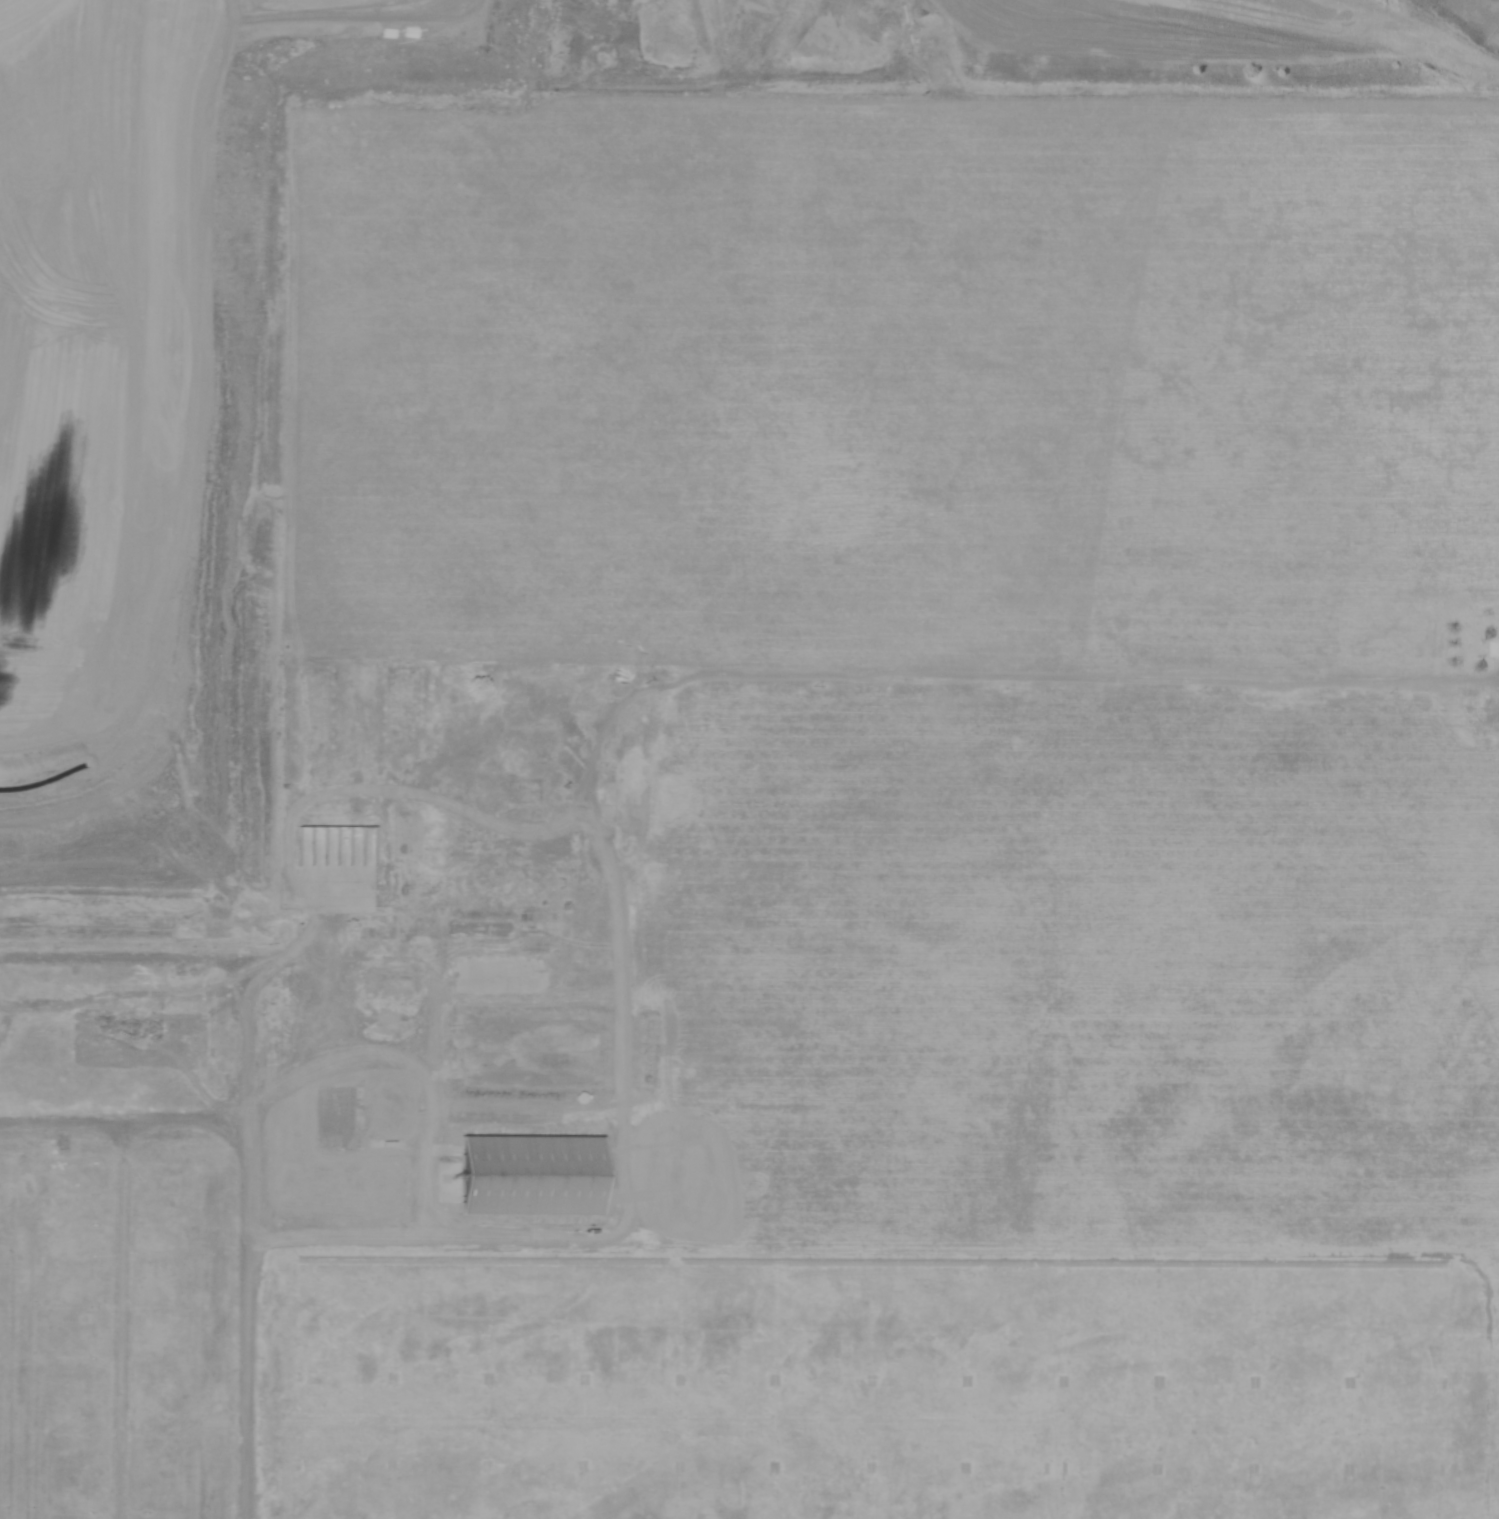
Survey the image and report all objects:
road: (902, 95)
crop: (948, 588)
road: (549, 768)
road: (122, 933)
road: (112, 1138)
road: (428, 1145)
building: (528, 1175)
road: (108, 1329)

